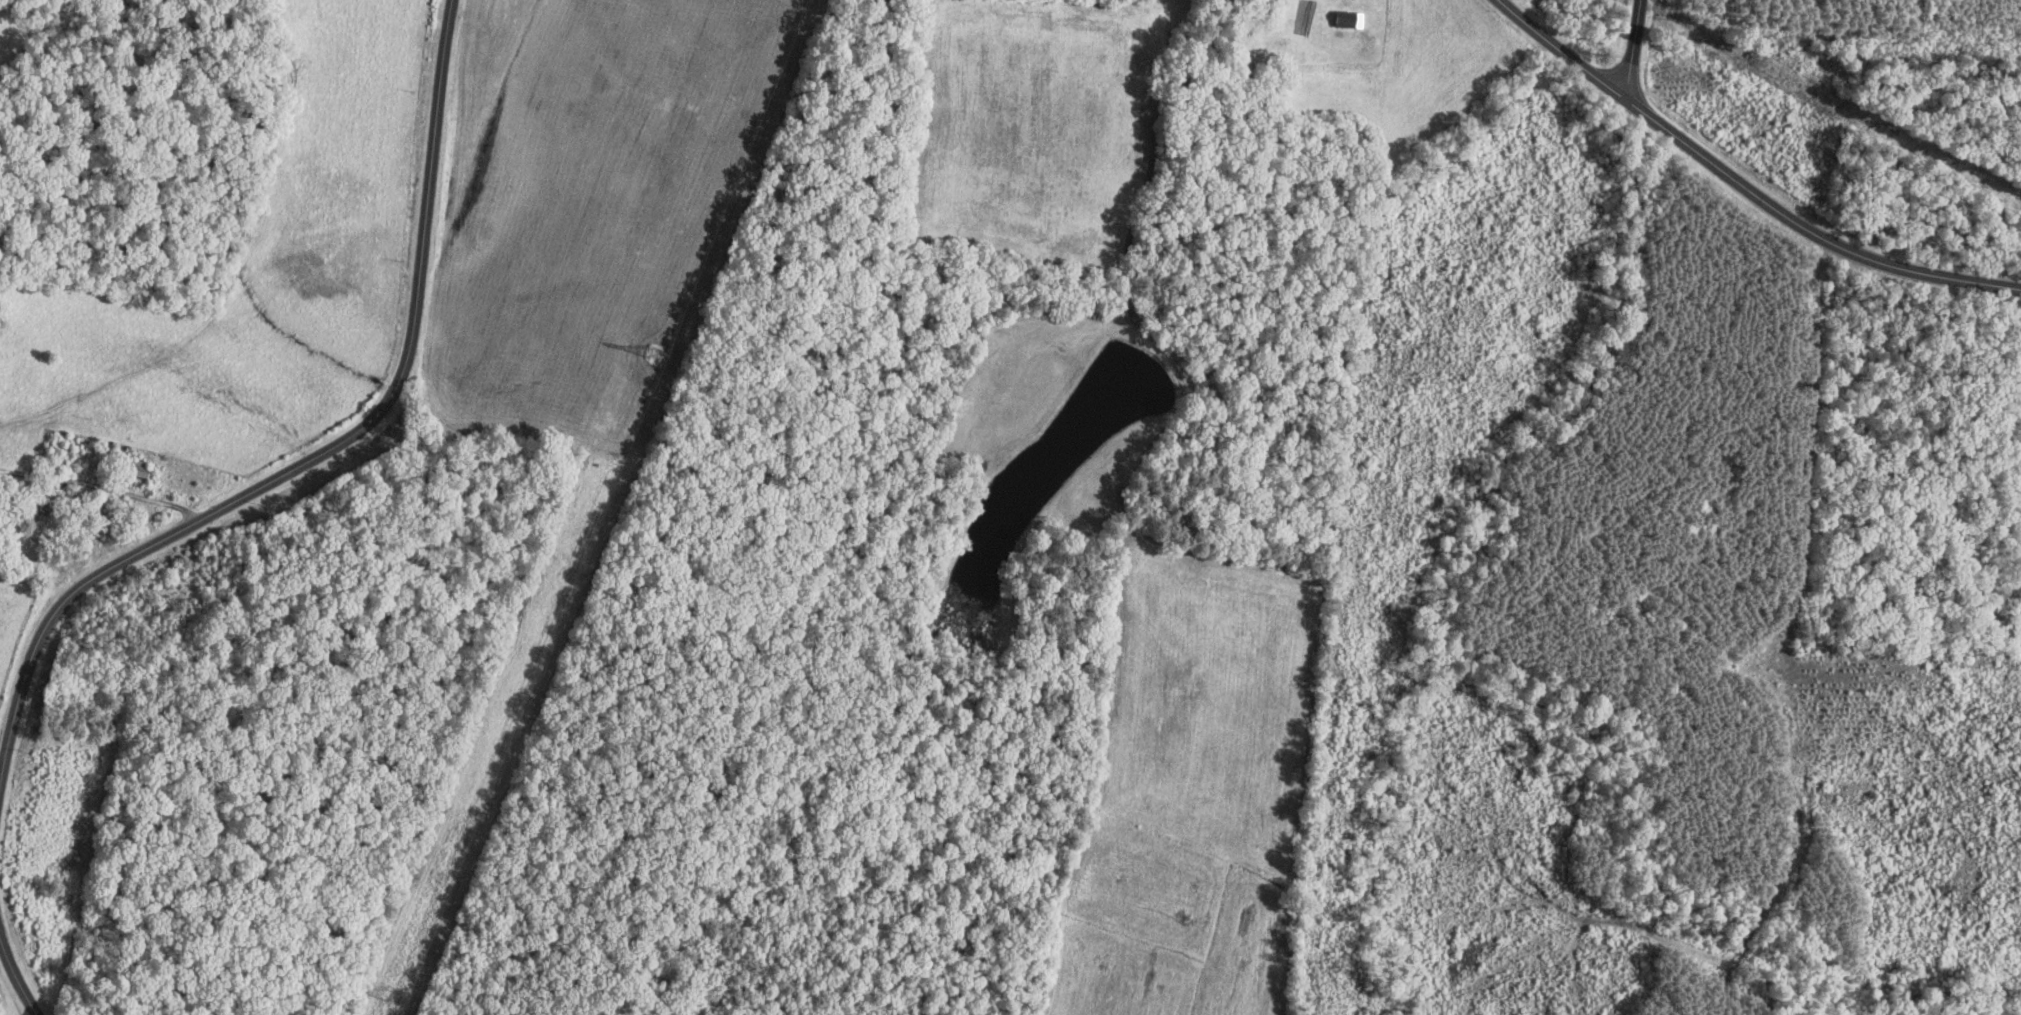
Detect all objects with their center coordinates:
building: (1349, 19)
road: (1631, 51)
road: (1740, 186)
road: (324, 451)
road: (101, 492)
road: (16, 979)

